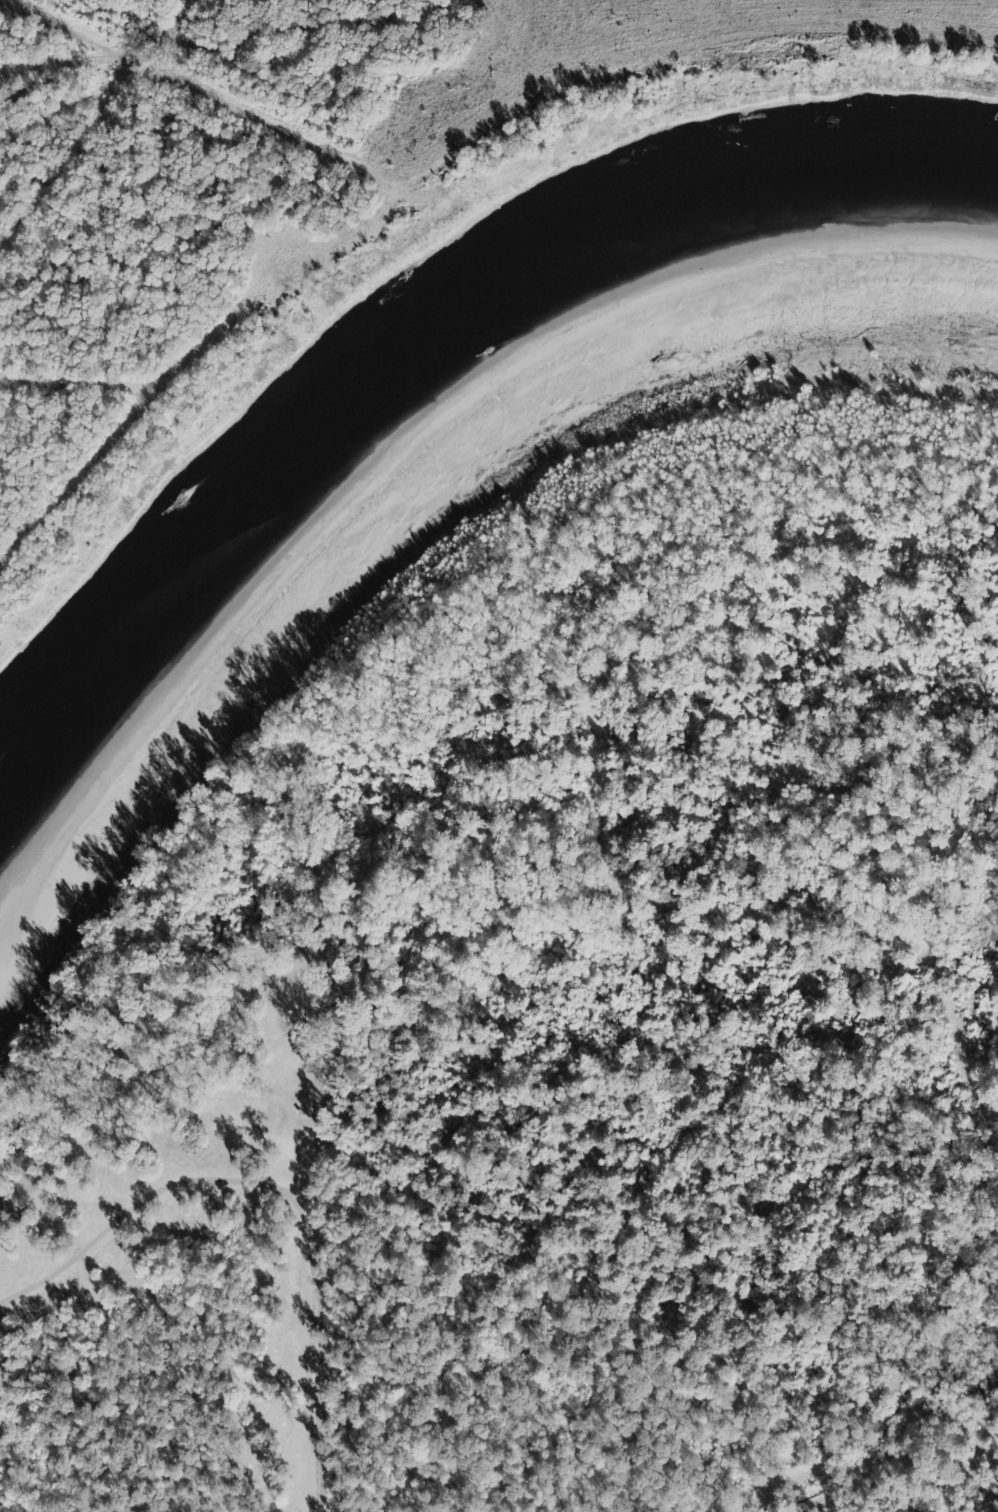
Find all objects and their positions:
road: (487, 160)
river: (421, 376)
road: (163, 875)
road: (661, 912)
road: (114, 1008)
road: (36, 1043)
road: (974, 1465)

